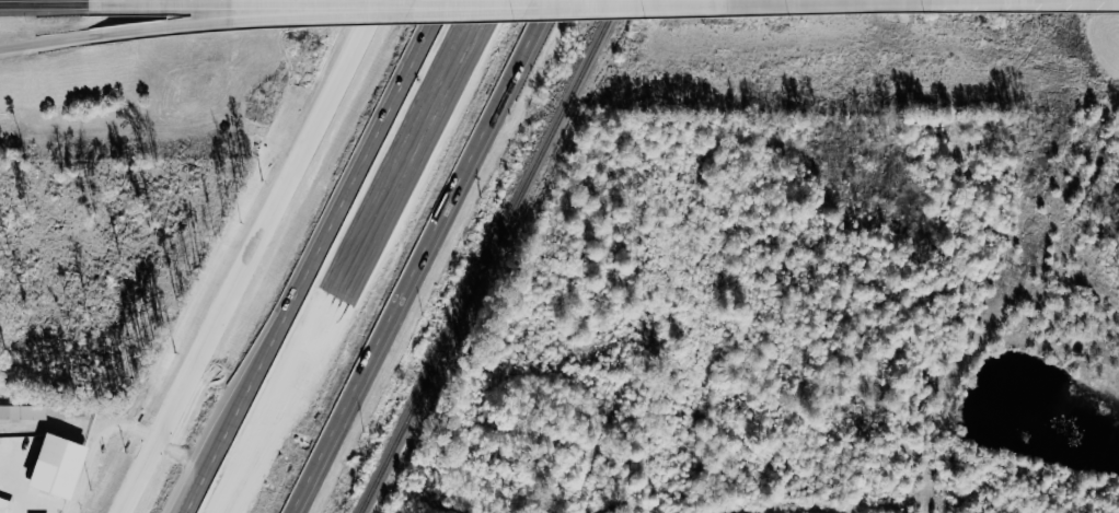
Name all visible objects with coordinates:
road: (243, 16)
road: (44, 43)
road: (257, 256)
road: (428, 256)
railway: (489, 256)
building: (24, 412)
road: (118, 420)
building: (60, 466)
road: (870, 508)
road: (622, 509)

